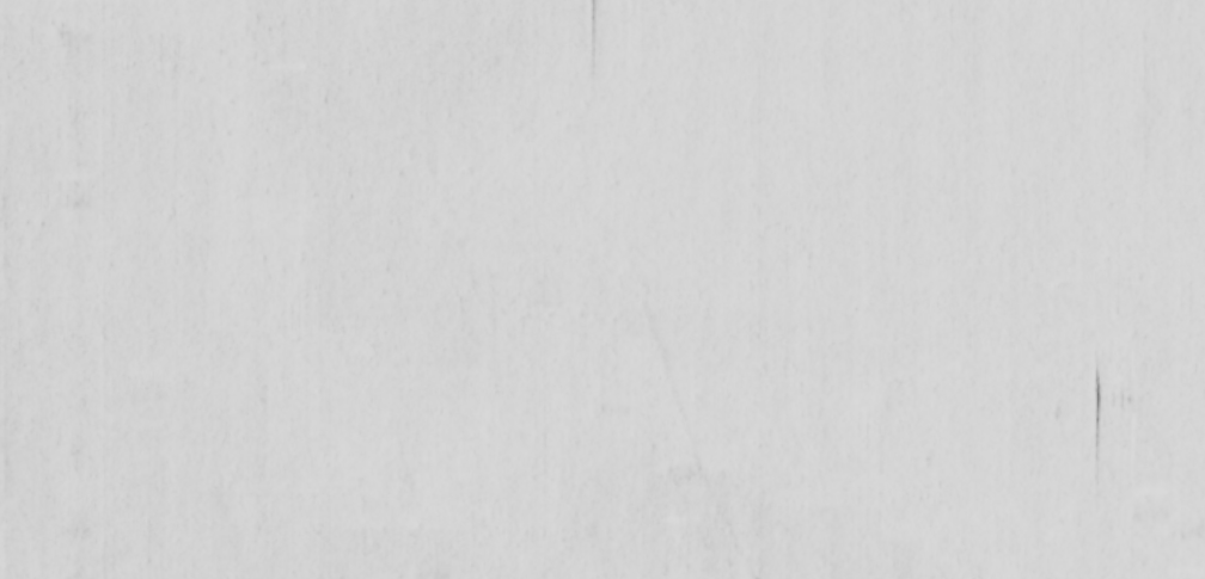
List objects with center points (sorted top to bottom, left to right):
crop: (602, 289)

